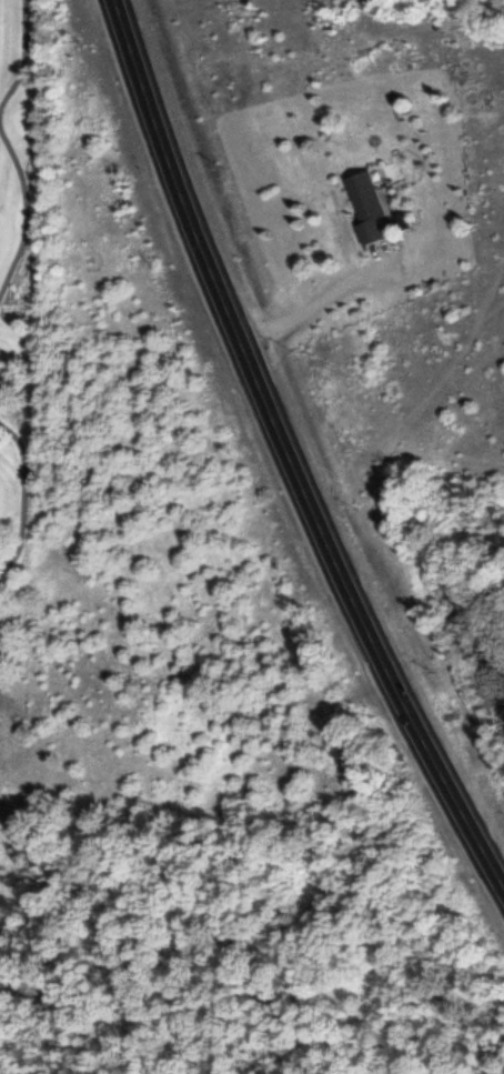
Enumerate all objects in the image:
building: (340, 222)
park: (26, 330)
road: (286, 449)

